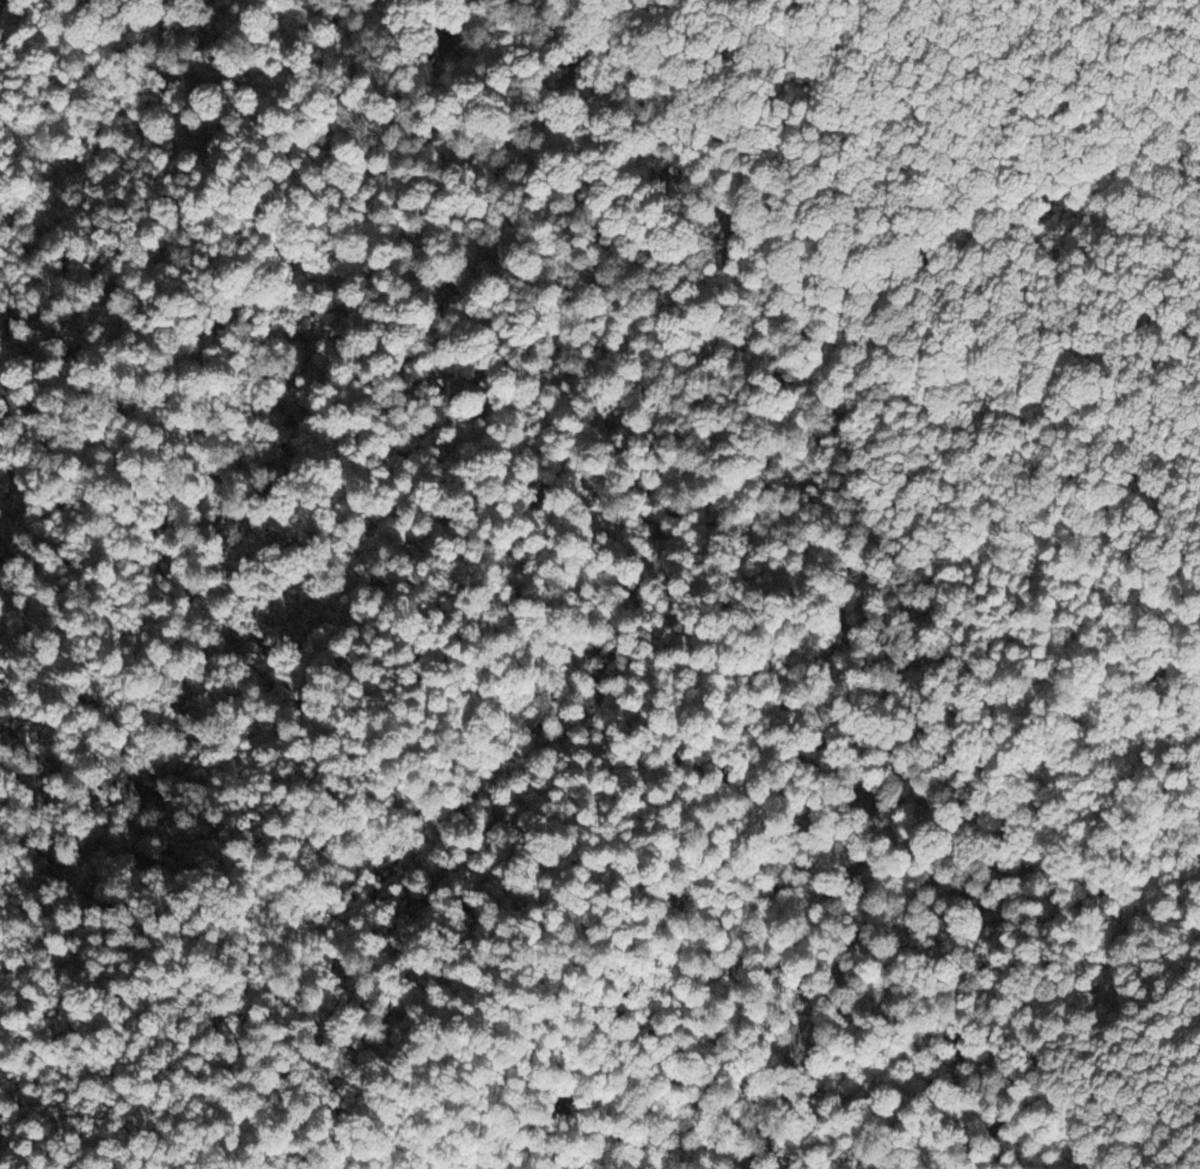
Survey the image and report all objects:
road: (649, 59)

